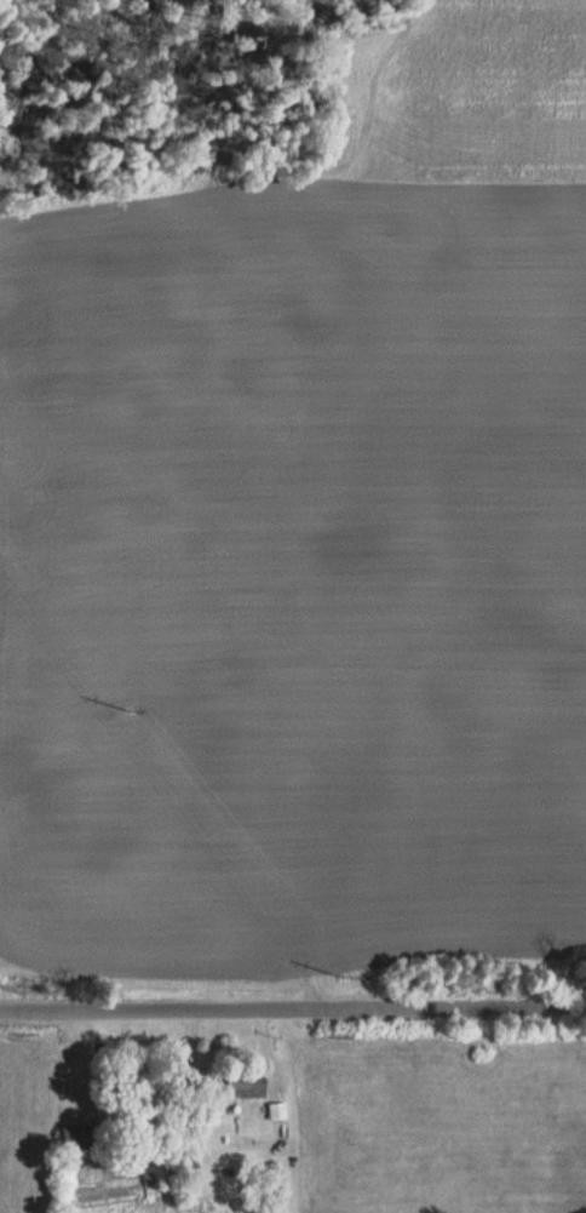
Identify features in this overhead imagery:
road: (293, 1008)
building: (249, 1086)
building: (84, 1134)

